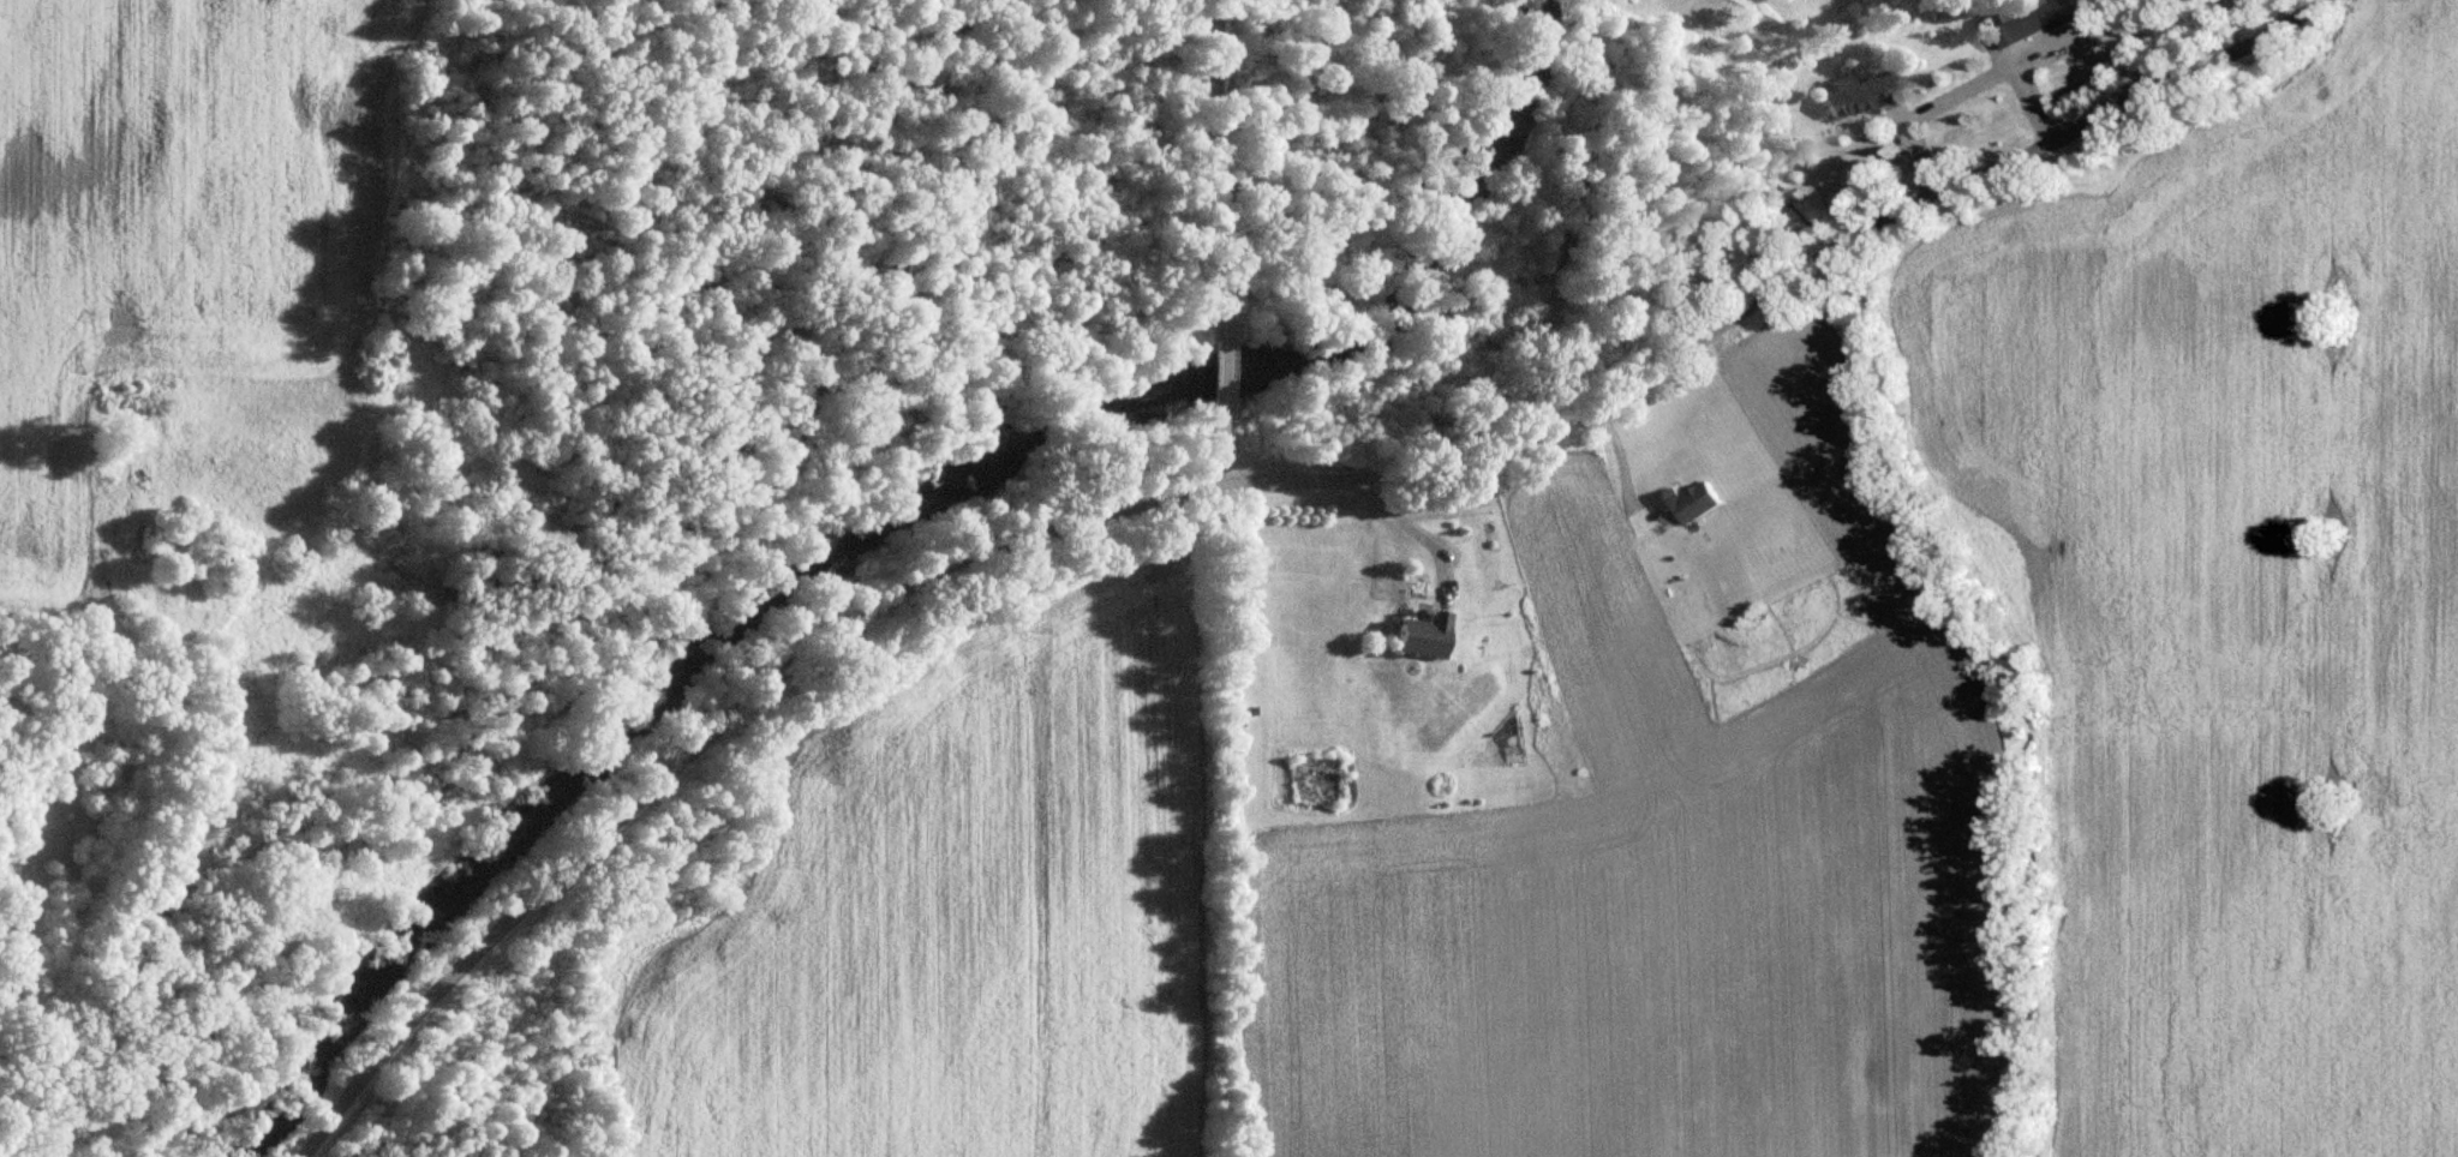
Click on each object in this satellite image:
building: (2014, 19)
road: (1957, 91)
building: (1856, 92)
road: (1207, 242)
road: (1622, 462)
road: (1245, 484)
building: (1688, 499)
river: (887, 511)
road: (1416, 529)
building: (1418, 634)

